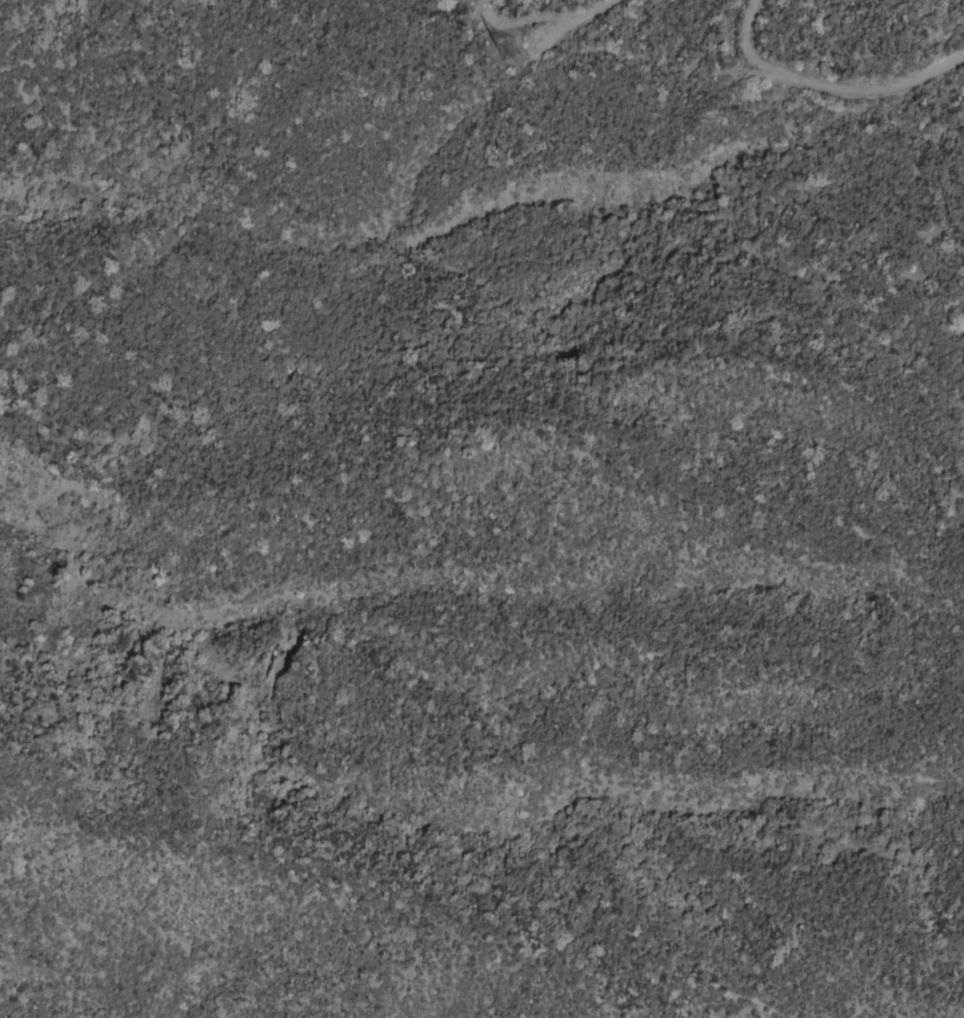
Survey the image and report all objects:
power tower: (509, 41)

